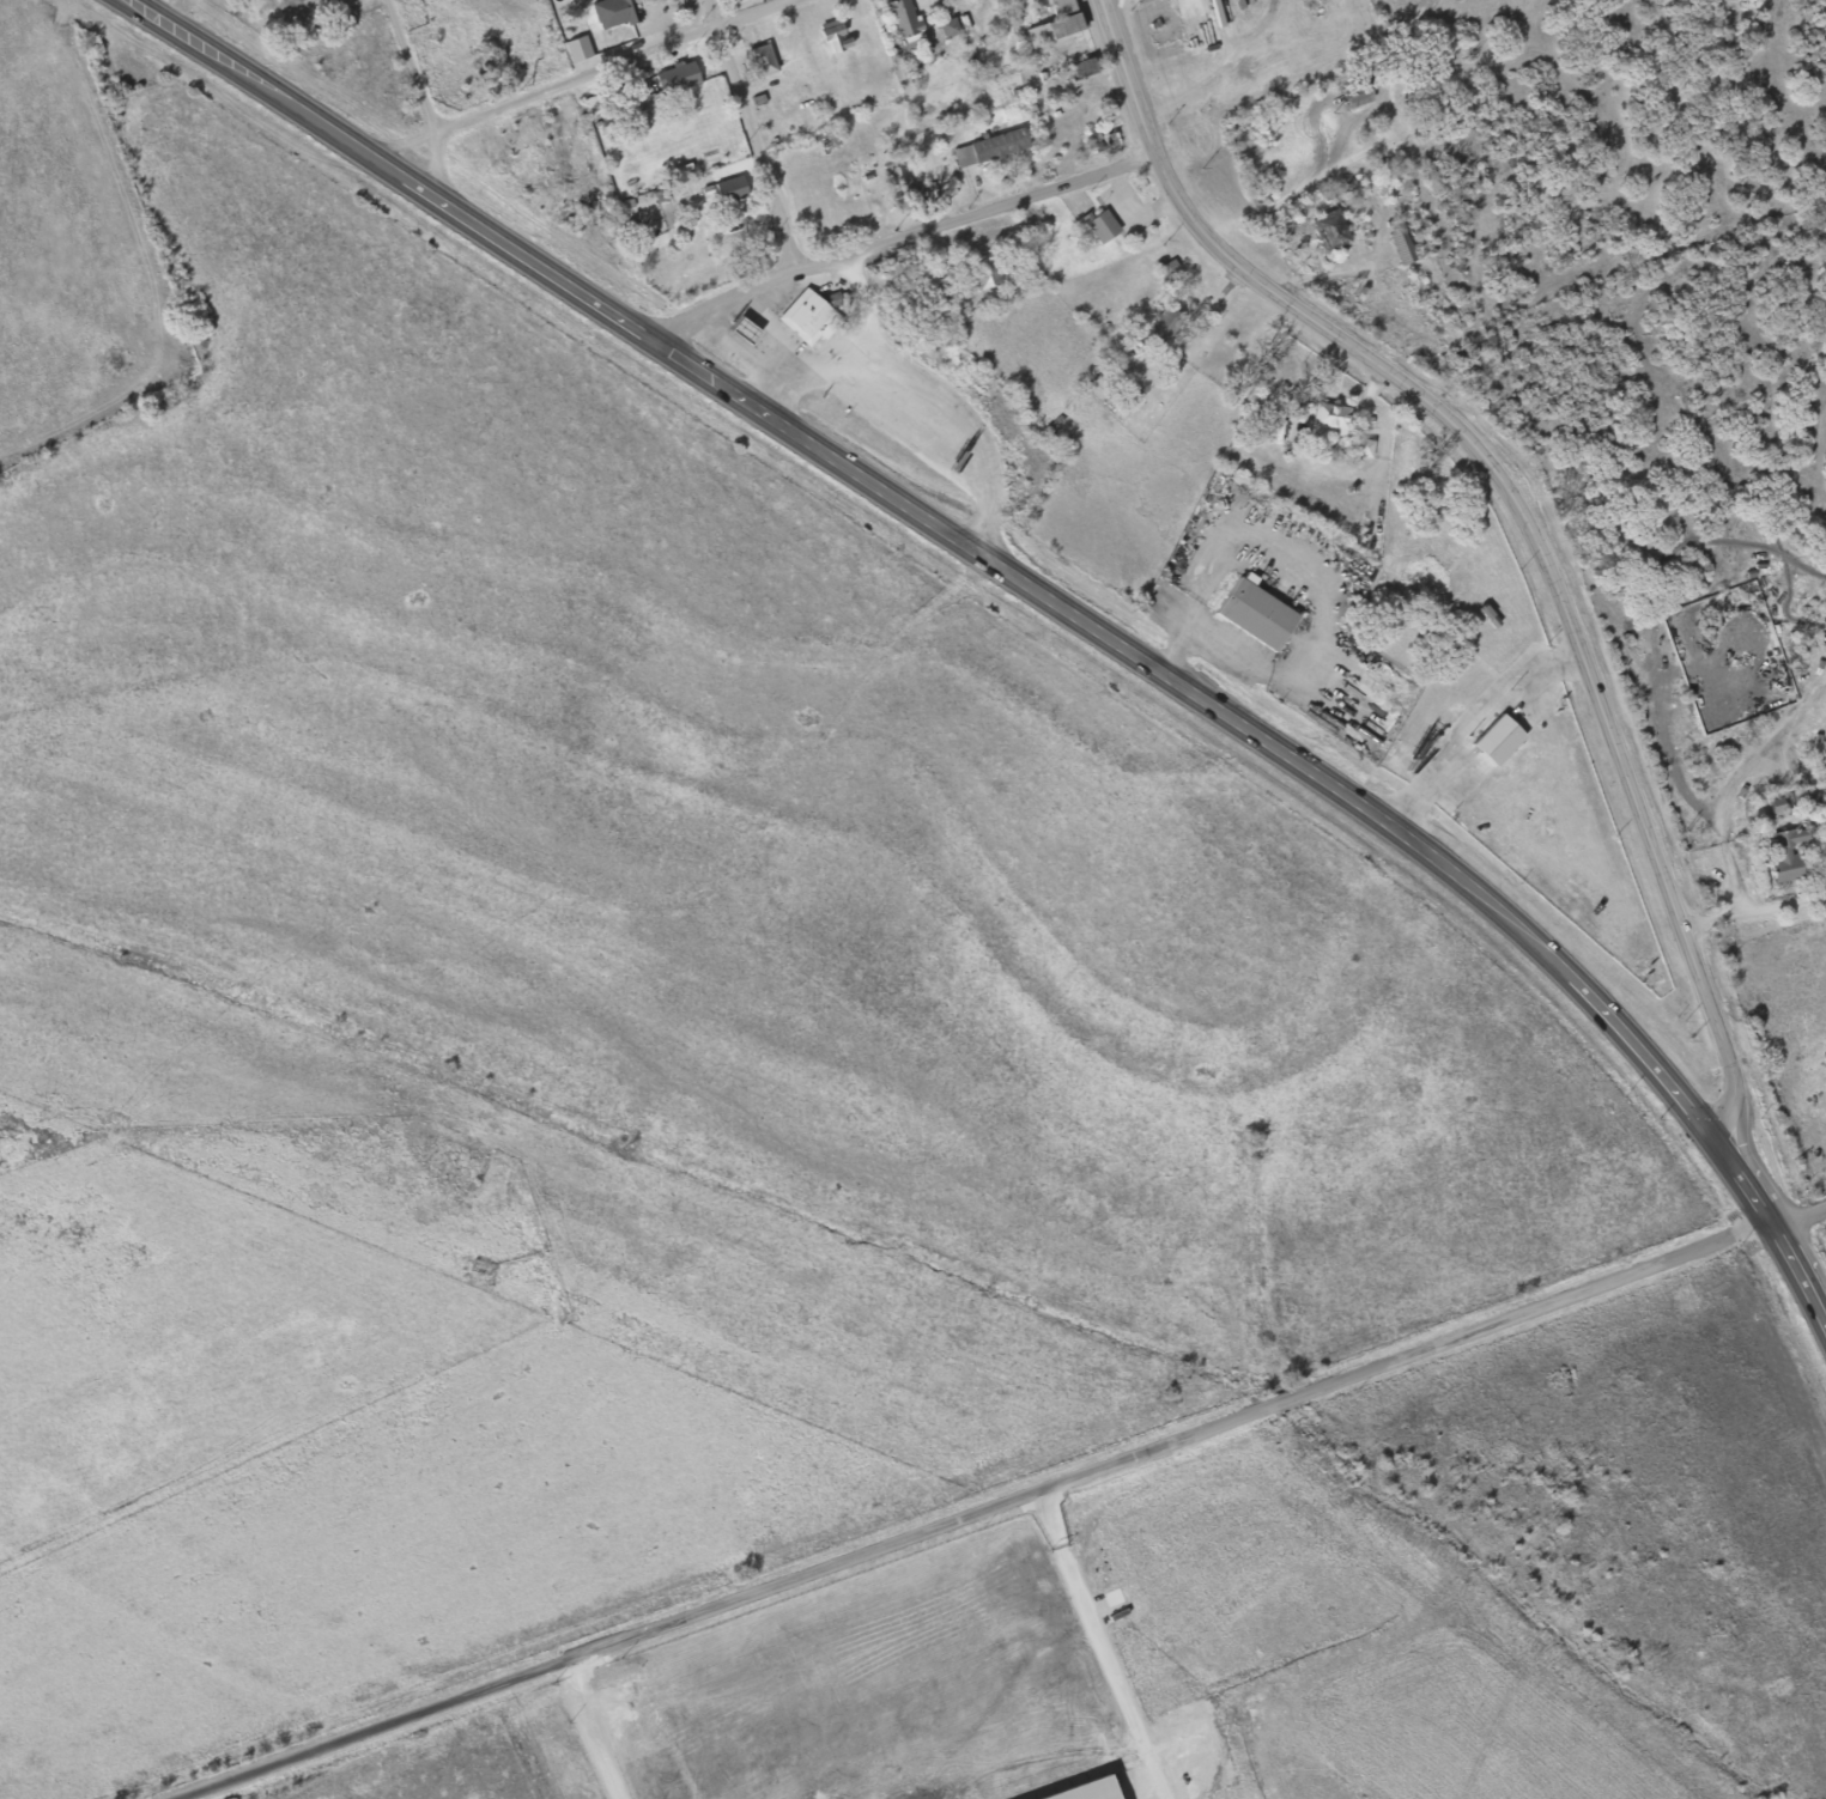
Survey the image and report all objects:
building: (1140, 1)
building: (608, 14)
building: (902, 19)
building: (1052, 23)
building: (946, 26)
building: (830, 36)
building: (576, 49)
building: (760, 60)
road: (580, 77)
building: (674, 78)
building: (1354, 96)
road: (421, 98)
road: (753, 132)
building: (988, 147)
building: (896, 181)
building: (727, 188)
road: (1135, 209)
building: (1102, 225)
building: (1328, 229)
road: (896, 236)
building: (981, 272)
building: (811, 320)
building: (1161, 324)
building: (746, 330)
gas station: (746, 330)
road: (753, 358)
road: (821, 359)
road: (921, 402)
building: (1297, 415)
building: (1327, 419)
parking lot: (891, 425)
building: (1361, 448)
road: (1518, 506)
road: (1041, 592)
building: (1254, 614)
road: (1470, 717)
building: (1494, 740)
building: (1775, 808)
building: (1825, 828)
building: (1784, 853)
road: (1735, 880)
road: (1753, 910)
road: (1797, 1215)
road: (971, 1509)
road: (1097, 1643)
road: (590, 1728)
building: (1080, 1791)

